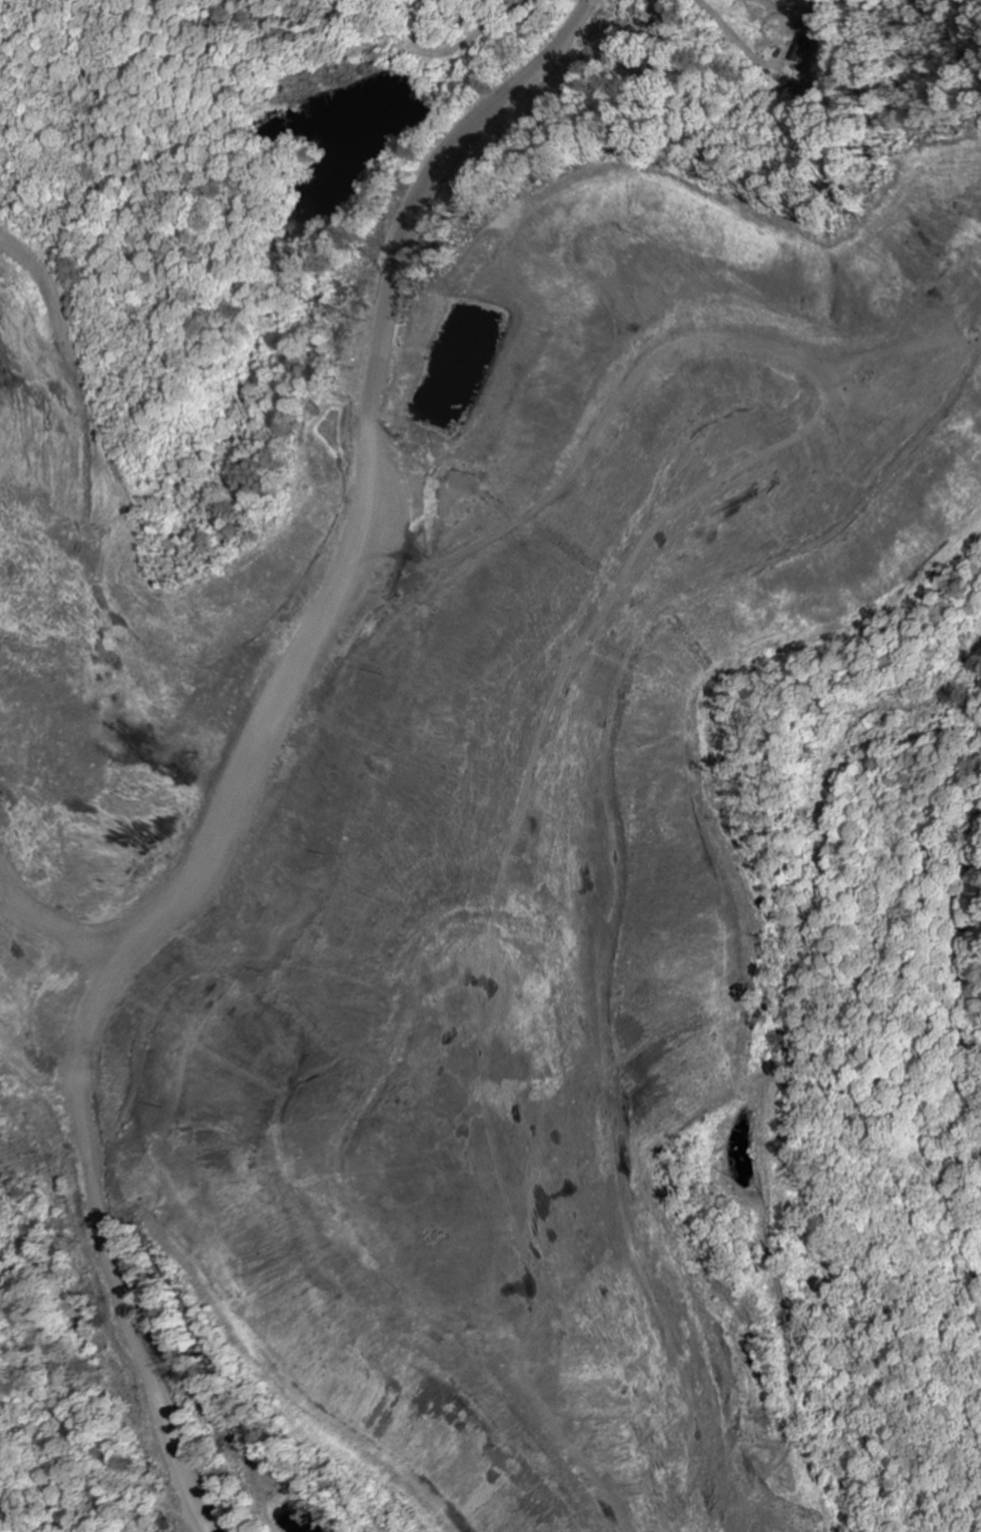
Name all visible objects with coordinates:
road: (142, 713)
road: (42, 761)
road: (68, 1251)

